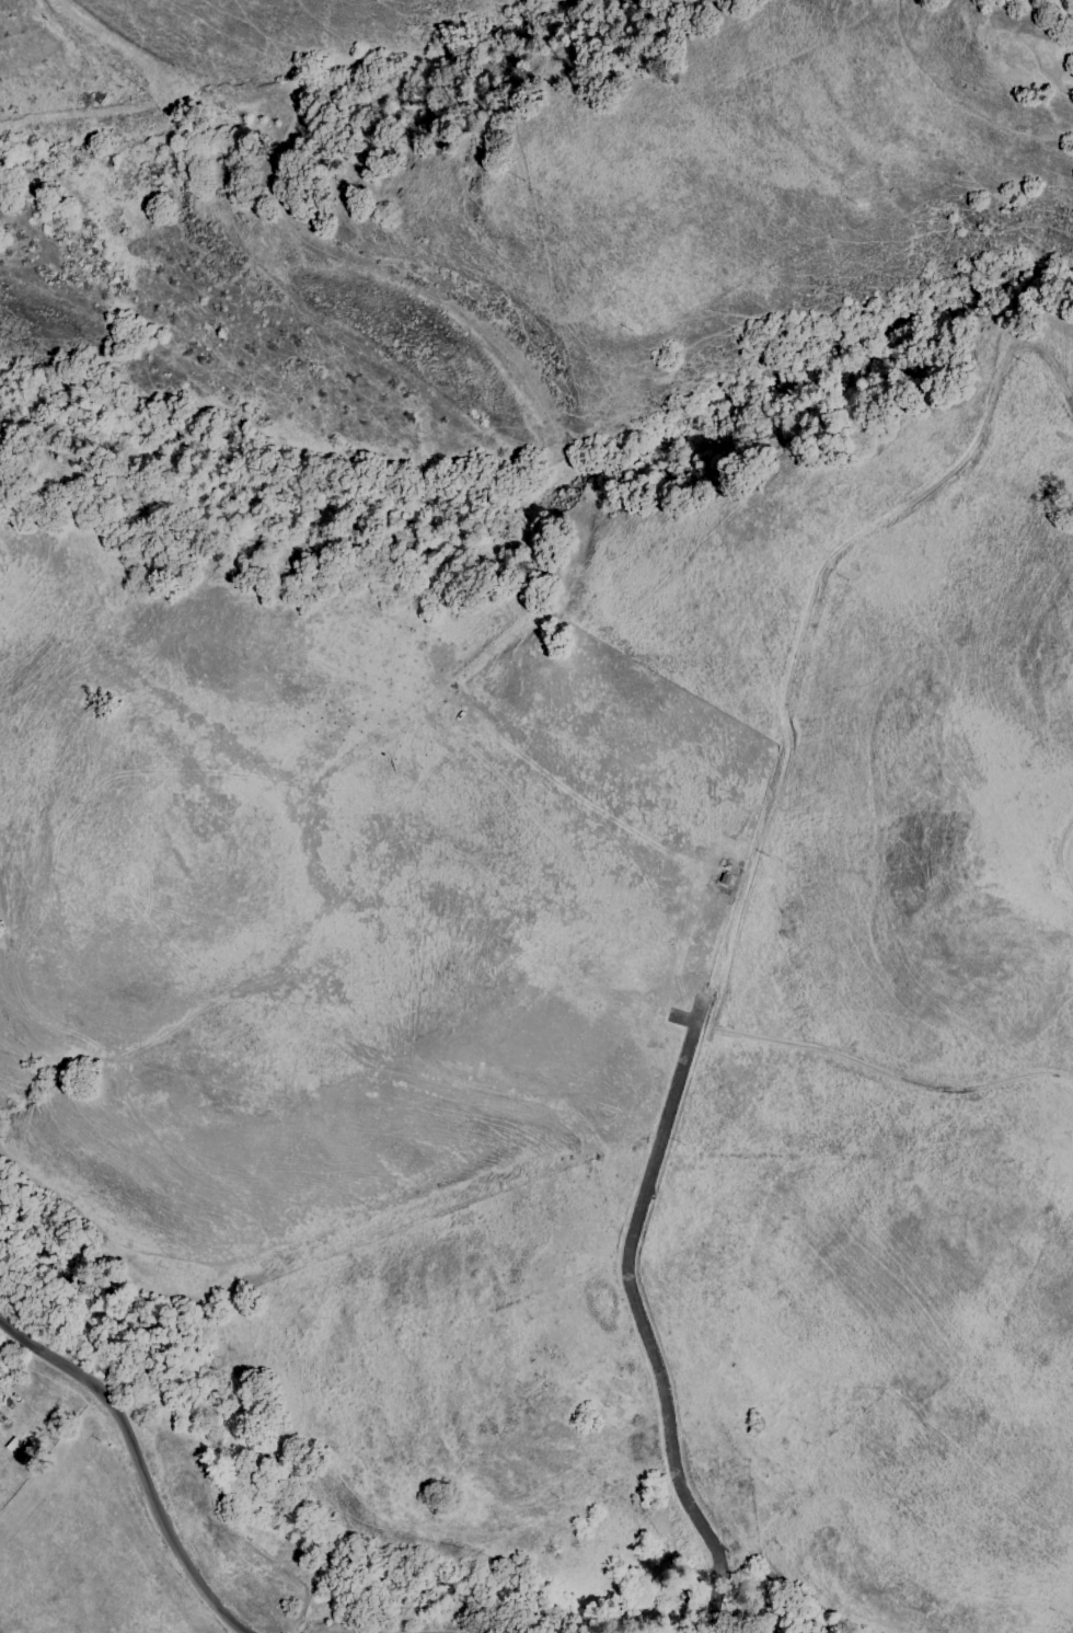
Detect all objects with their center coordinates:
road: (637, 1321)
road: (139, 1463)

